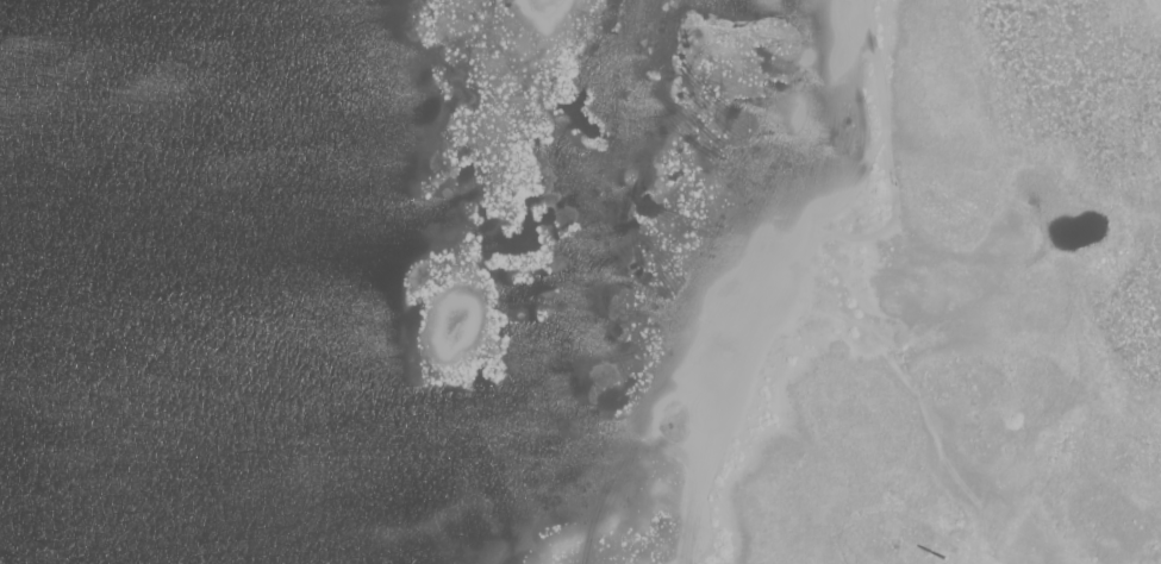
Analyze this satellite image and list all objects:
park: (807, 246)
power tower: (947, 560)

